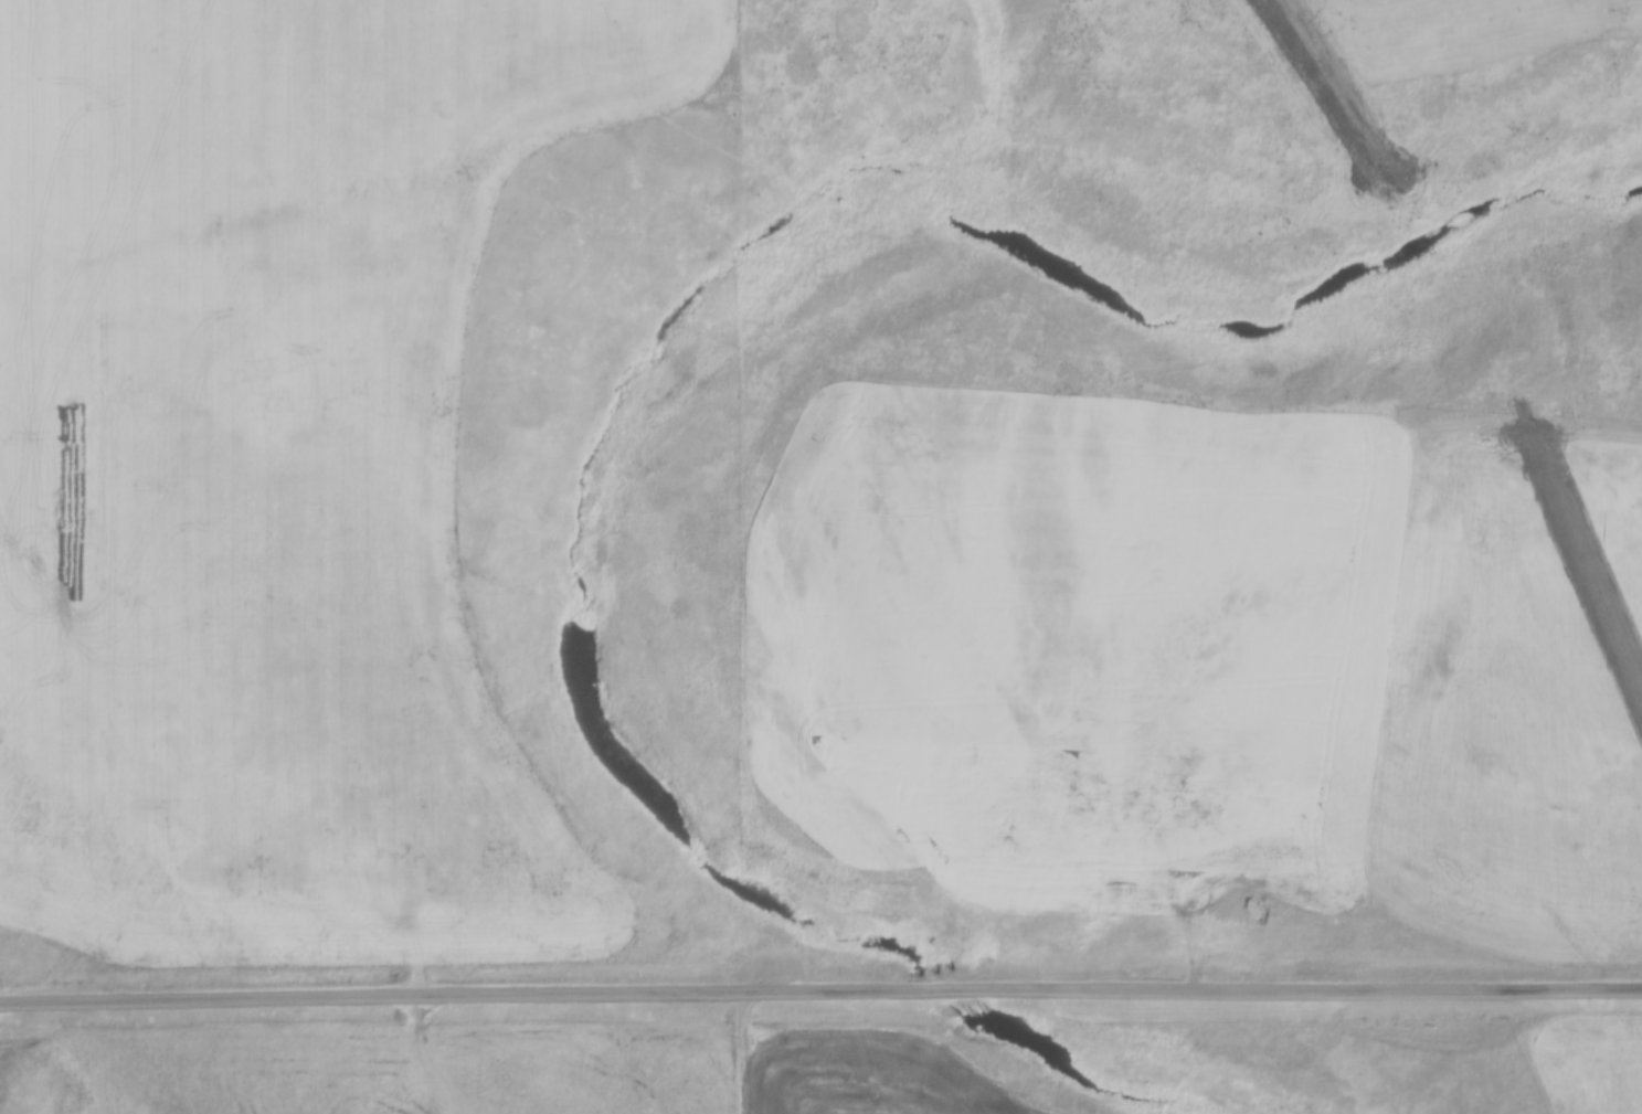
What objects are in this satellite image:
road: (820, 999)

